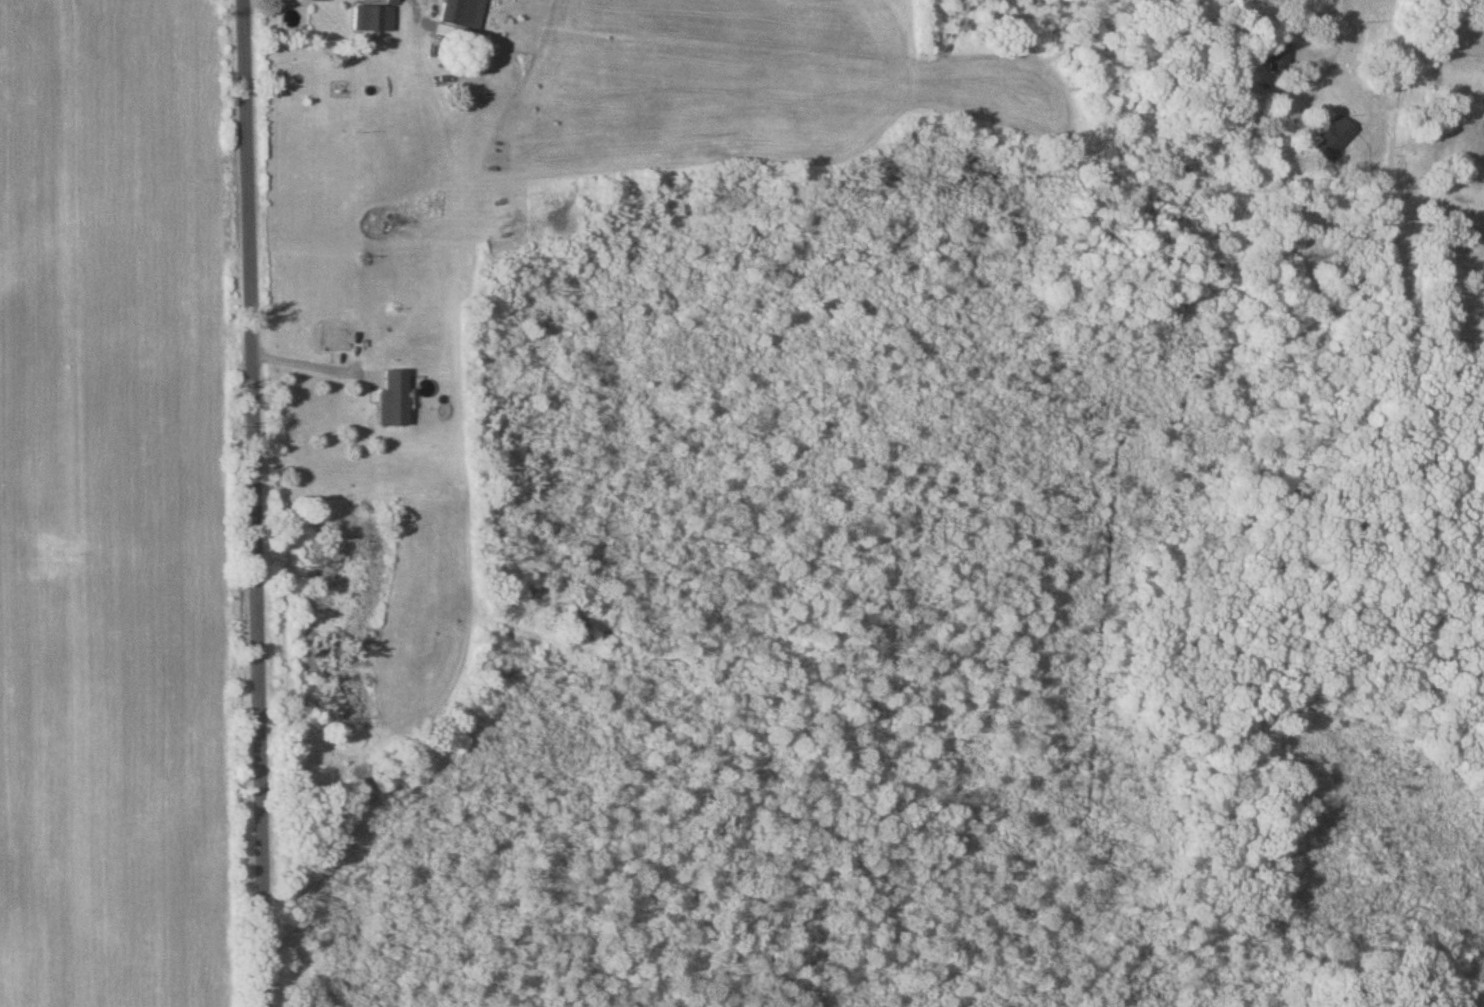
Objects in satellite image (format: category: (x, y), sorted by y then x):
building: (457, 13)
building: (373, 20)
road: (1337, 39)
building: (1277, 54)
building: (1333, 139)
road: (308, 366)
building: (391, 399)
road: (257, 503)

